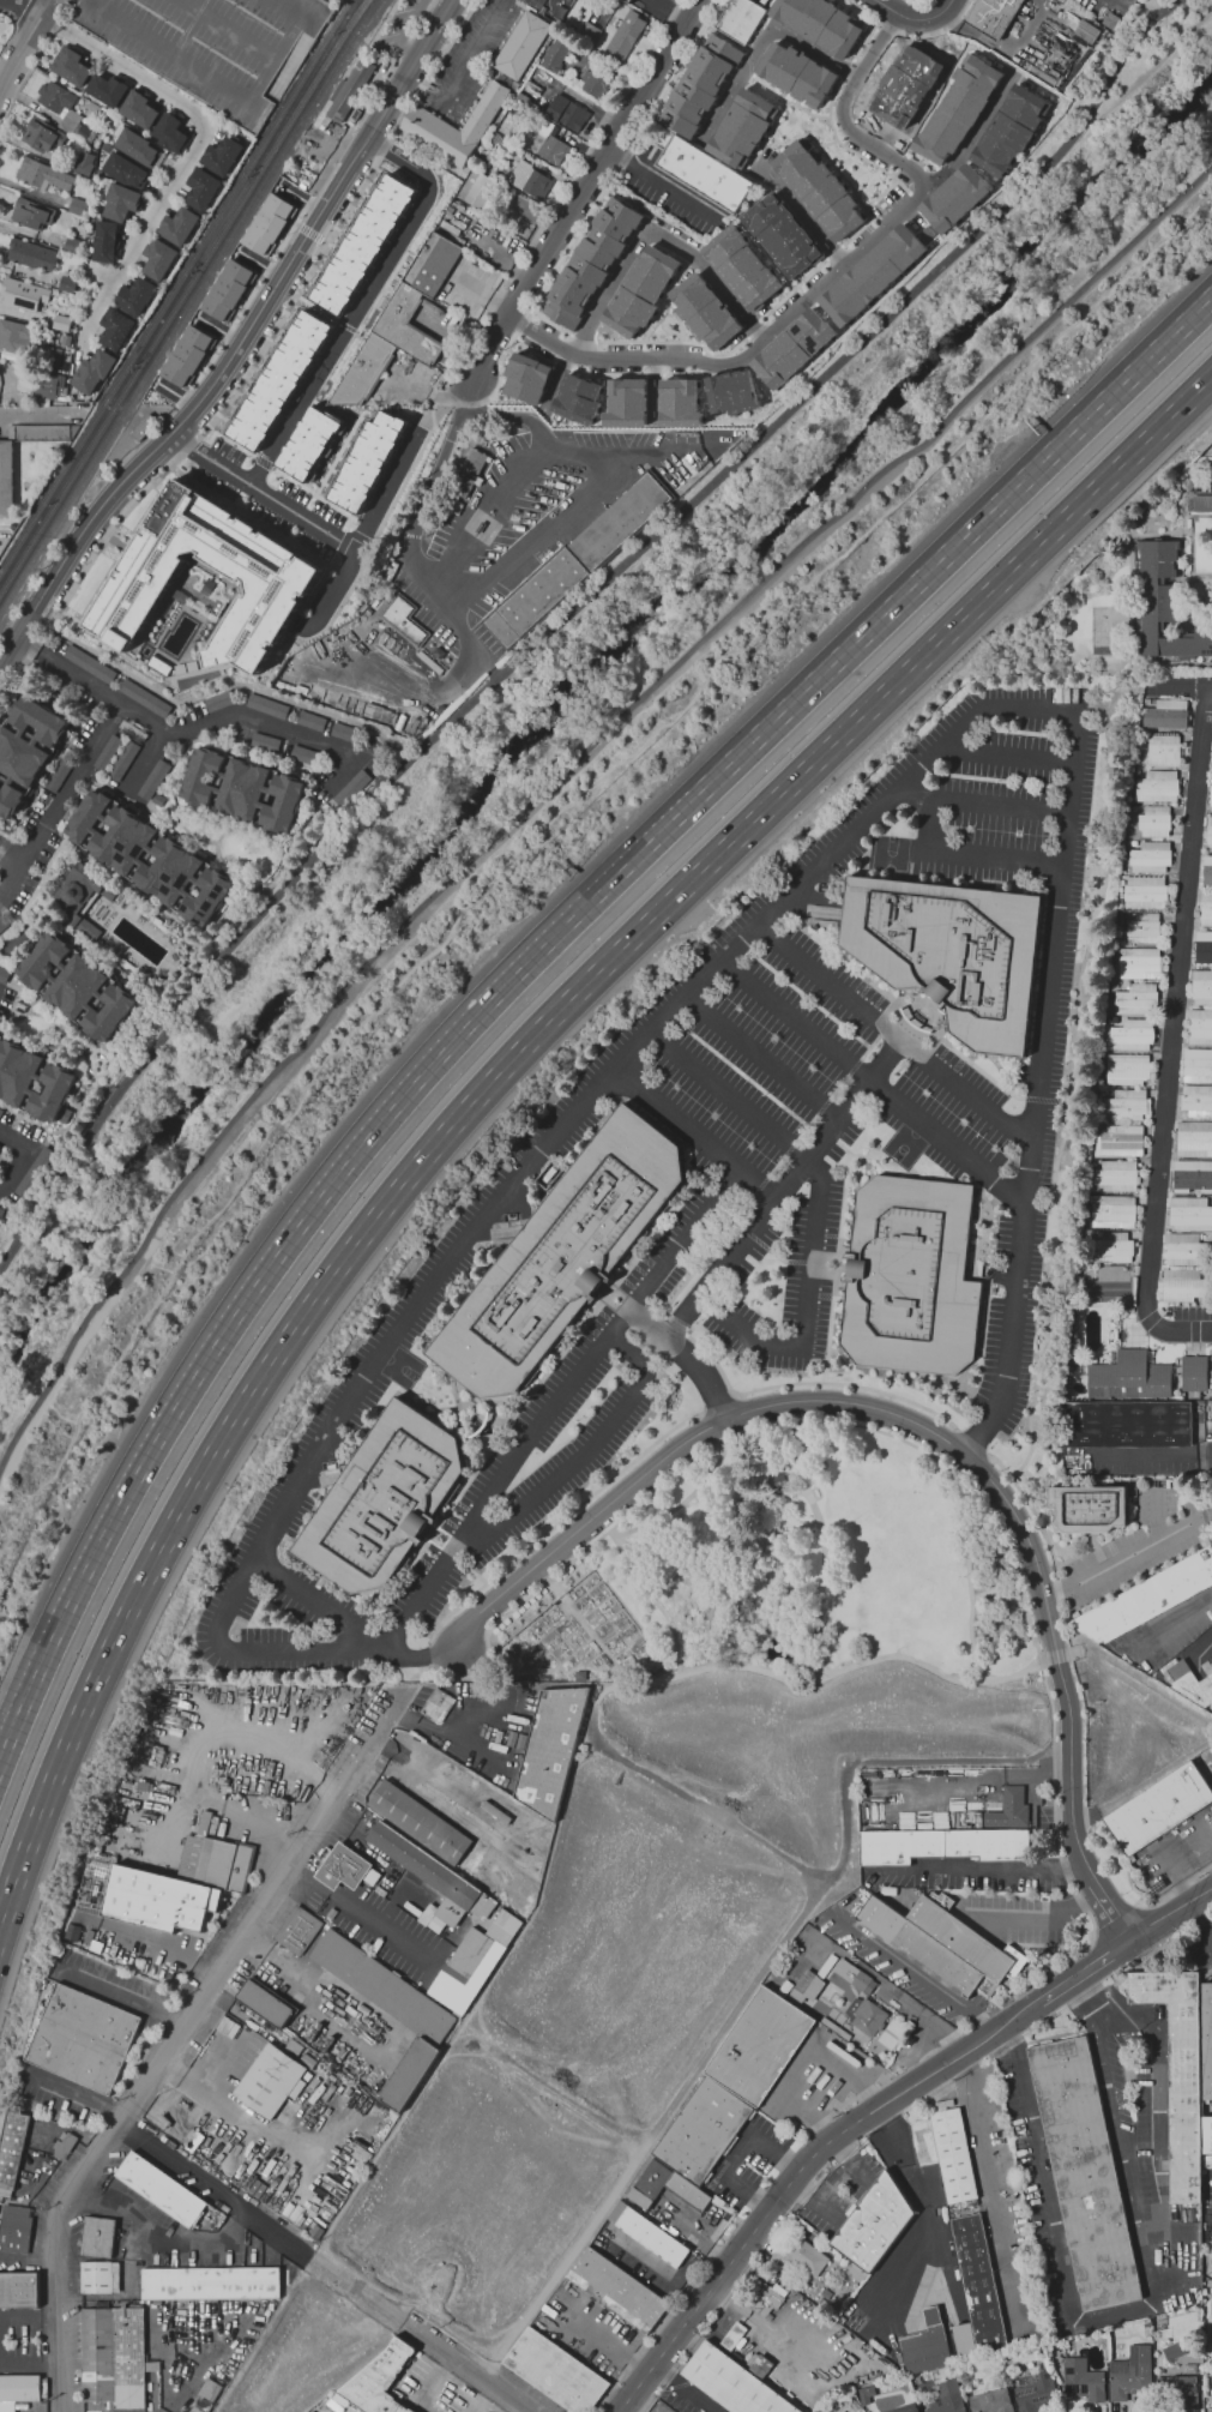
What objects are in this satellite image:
building: (339, 0)
building: (1061, 0)
road: (1175, 0)
building: (631, 1)
building: (1056, 1)
road: (917, 2)
building: (802, 6)
road: (945, 10)
road: (903, 17)
building: (987, 17)
building: (736, 19)
building: (827, 19)
road: (384, 22)
parking lot: (398, 25)
road: (403, 30)
building: (587, 30)
building: (1086, 32)
road: (906, 36)
building: (628, 37)
building: (850, 37)
road: (764, 41)
road: (23, 46)
building: (215, 46)
parking lot: (215, 46)
building: (523, 46)
park: (1141, 47)
road: (469, 52)
building: (555, 54)
building: (770, 59)
road: (31, 65)
building: (72, 67)
building: (899, 67)
building: (803, 77)
building: (699, 84)
building: (595, 85)
building: (107, 91)
building: (354, 91)
road: (420, 91)
building: (55, 96)
building: (529, 96)
building: (139, 109)
building: (953, 110)
building: (571, 112)
building: (71, 121)
building: (427, 122)
building: (884, 122)
building: (742, 128)
building: (171, 131)
building: (1008, 131)
building: (85, 132)
road: (972, 136)
building: (41, 137)
road: (195, 139)
building: (137, 145)
building: (553, 146)
building: (499, 150)
building: (221, 156)
building: (84, 161)
building: (125, 169)
building: (695, 172)
building: (36, 173)
building: (530, 180)
road: (653, 181)
building: (201, 188)
building: (818, 190)
building: (478, 196)
building: (954, 198)
building: (122, 201)
road: (578, 201)
building: (77, 207)
building: (31, 212)
road: (808, 222)
building: (267, 224)
building: (180, 225)
road: (309, 234)
road: (655, 234)
building: (782, 235)
building: (533, 237)
building: (104, 241)
building: (71, 243)
building: (363, 245)
building: (23, 254)
building: (159, 259)
building: (593, 261)
building: (625, 264)
building: (435, 265)
building: (741, 269)
building: (872, 275)
road: (827, 278)
building: (67, 284)
railway: (175, 287)
building: (18, 290)
building: (227, 290)
building: (135, 295)
railway: (182, 296)
road: (488, 297)
road: (361, 301)
road: (245, 302)
railway: (189, 306)
building: (704, 312)
building: (61, 321)
building: (408, 326)
building: (581, 327)
building: (116, 329)
building: (12, 333)
building: (67, 339)
road: (239, 344)
building: (791, 348)
building: (526, 353)
building: (48, 356)
building: (187, 356)
road: (253, 361)
building: (92, 371)
building: (364, 373)
building: (527, 378)
building: (279, 380)
building: (48, 386)
road: (423, 391)
building: (730, 392)
building: (577, 399)
building: (679, 402)
building: (626, 403)
road: (468, 404)
road: (427, 409)
road: (32, 416)
building: (145, 428)
building: (37, 431)
building: (308, 443)
building: (367, 461)
road: (608, 471)
building: (465, 474)
building: (5, 479)
road: (1200, 486)
road: (263, 491)
building: (1201, 501)
road: (415, 512)
road: (364, 528)
road: (2, 530)
road: (954, 552)
building: (571, 561)
building: (275, 575)
building: (1163, 604)
road: (568, 613)
building: (404, 618)
building: (89, 663)
road: (1168, 688)
road: (1202, 688)
road: (426, 691)
building: (144, 697)
building: (218, 700)
building: (266, 705)
building: (1166, 714)
building: (40, 720)
building: (310, 720)
road: (199, 723)
building: (343, 732)
building: (265, 741)
building: (1162, 750)
building: (108, 752)
road: (1005, 753)
building: (303, 754)
building: (20, 756)
building: (122, 760)
road: (146, 760)
building: (60, 772)
building: (201, 776)
road: (560, 777)
building: (153, 780)
building: (1156, 786)
building: (352, 788)
building: (242, 789)
building: (1210, 794)
road: (60, 798)
building: (10, 799)
building: (161, 799)
building: (283, 802)
road: (981, 805)
building: (88, 816)
building: (1153, 820)
road: (924, 825)
road: (543, 829)
building: (1208, 830)
building: (123, 841)
road: (10, 853)
road: (967, 856)
building: (1148, 856)
road: (10, 859)
building: (1206, 870)
building: (169, 871)
building: (78, 890)
building: (1144, 891)
building: (207, 897)
building: (1205, 909)
road: (762, 919)
building: (4, 924)
building: (1141, 927)
building: (1202, 946)
building: (945, 952)
building: (43, 961)
building: (1139, 963)
building: (4, 975)
building: (77, 986)
building: (1201, 987)
building: (1135, 999)
road: (1174, 1005)
building: (110, 1012)
building: (1199, 1027)
building: (1132, 1034)
road: (891, 1035)
road: (760, 1058)
building: (1196, 1065)
road: (498, 1069)
building: (1127, 1069)
building: (16, 1070)
road: (872, 1082)
building: (52, 1093)
building: (1195, 1100)
building: (1124, 1105)
building: (0, 1111)
road: (689, 1136)
building: (1193, 1138)
building: (1117, 1139)
road: (19, 1155)
building: (1115, 1175)
building: (1192, 1175)
road: (780, 1190)
building: (1, 1211)
road: (812, 1211)
building: (1114, 1211)
building: (1189, 1213)
road: (290, 1238)
building: (1112, 1246)
building: (1187, 1249)
building: (553, 1259)
building: (906, 1279)
building: (1183, 1285)
road: (1178, 1329)
building: (1211, 1349)
road: (682, 1357)
building: (1193, 1372)
building: (1128, 1377)
road: (551, 1403)
road: (862, 1408)
building: (1123, 1427)
road: (1147, 1452)
road: (583, 1455)
building: (779, 1484)
building: (386, 1499)
building: (1084, 1512)
road: (1127, 1554)
park: (782, 1575)
building: (1146, 1600)
road: (322, 1606)
road: (1166, 1625)
building: (1193, 1684)
building: (438, 1707)
road: (451, 1734)
building: (554, 1749)
road: (207, 1755)
building: (1008, 1809)
building: (1154, 1809)
building: (421, 1823)
road: (346, 1831)
building: (943, 1846)
road: (1077, 1849)
building: (224, 1865)
road: (976, 1866)
building: (345, 1869)
building: (432, 1871)
building: (513, 1899)
building: (157, 1900)
road: (1110, 1912)
road: (360, 1913)
road: (1169, 1913)
road: (1198, 1924)
building: (299, 1931)
building: (947, 1943)
road: (161, 1948)
building: (475, 1963)
road: (1083, 1972)
road: (922, 1978)
building: (386, 1986)
road: (1093, 1996)
road: (127, 1998)
building: (267, 2002)
building: (869, 2016)
road: (935, 2022)
road: (179, 2033)
building: (84, 2037)
building: (762, 2045)
building: (1186, 2069)
building: (411, 2073)
building: (271, 2080)
road: (824, 2083)
road: (198, 2089)
road: (77, 2093)
road: (1159, 2107)
road: (1115, 2123)
building: (706, 2131)
building: (12, 2147)
building: (949, 2153)
road: (183, 2167)
building: (1089, 2173)
road: (801, 2177)
building: (664, 2179)
road: (993, 2181)
building: (162, 2188)
road: (930, 2220)
building: (879, 2224)
building: (16, 2230)
road: (159, 2233)
road: (278, 2234)
building: (651, 2234)
building: (98, 2237)
road: (1060, 2249)
building: (804, 2257)
building: (855, 2272)
road: (653, 2275)
building: (96, 2278)
building: (212, 2284)
building: (982, 2284)
road: (355, 2288)
building: (19, 2290)
building: (620, 2290)
building: (771, 2297)
road: (29, 2321)
building: (1211, 2322)
building: (731, 2335)
building: (1059, 2342)
road: (608, 2345)
building: (929, 2345)
building: (1174, 2351)
building: (113, 2356)
road: (29, 2362)
building: (1044, 2364)
road: (464, 2366)
building: (557, 2371)
building: (1130, 2374)
building: (382, 2380)
building: (1083, 2380)
building: (734, 2382)
road: (422, 2384)
building: (19, 2388)
building: (210, 2389)
road: (686, 2389)
building: (1178, 2390)
building: (1035, 2392)
building: (866, 2395)
road: (480, 2398)
building: (946, 2398)
building: (990, 2401)
building: (905, 2408)

